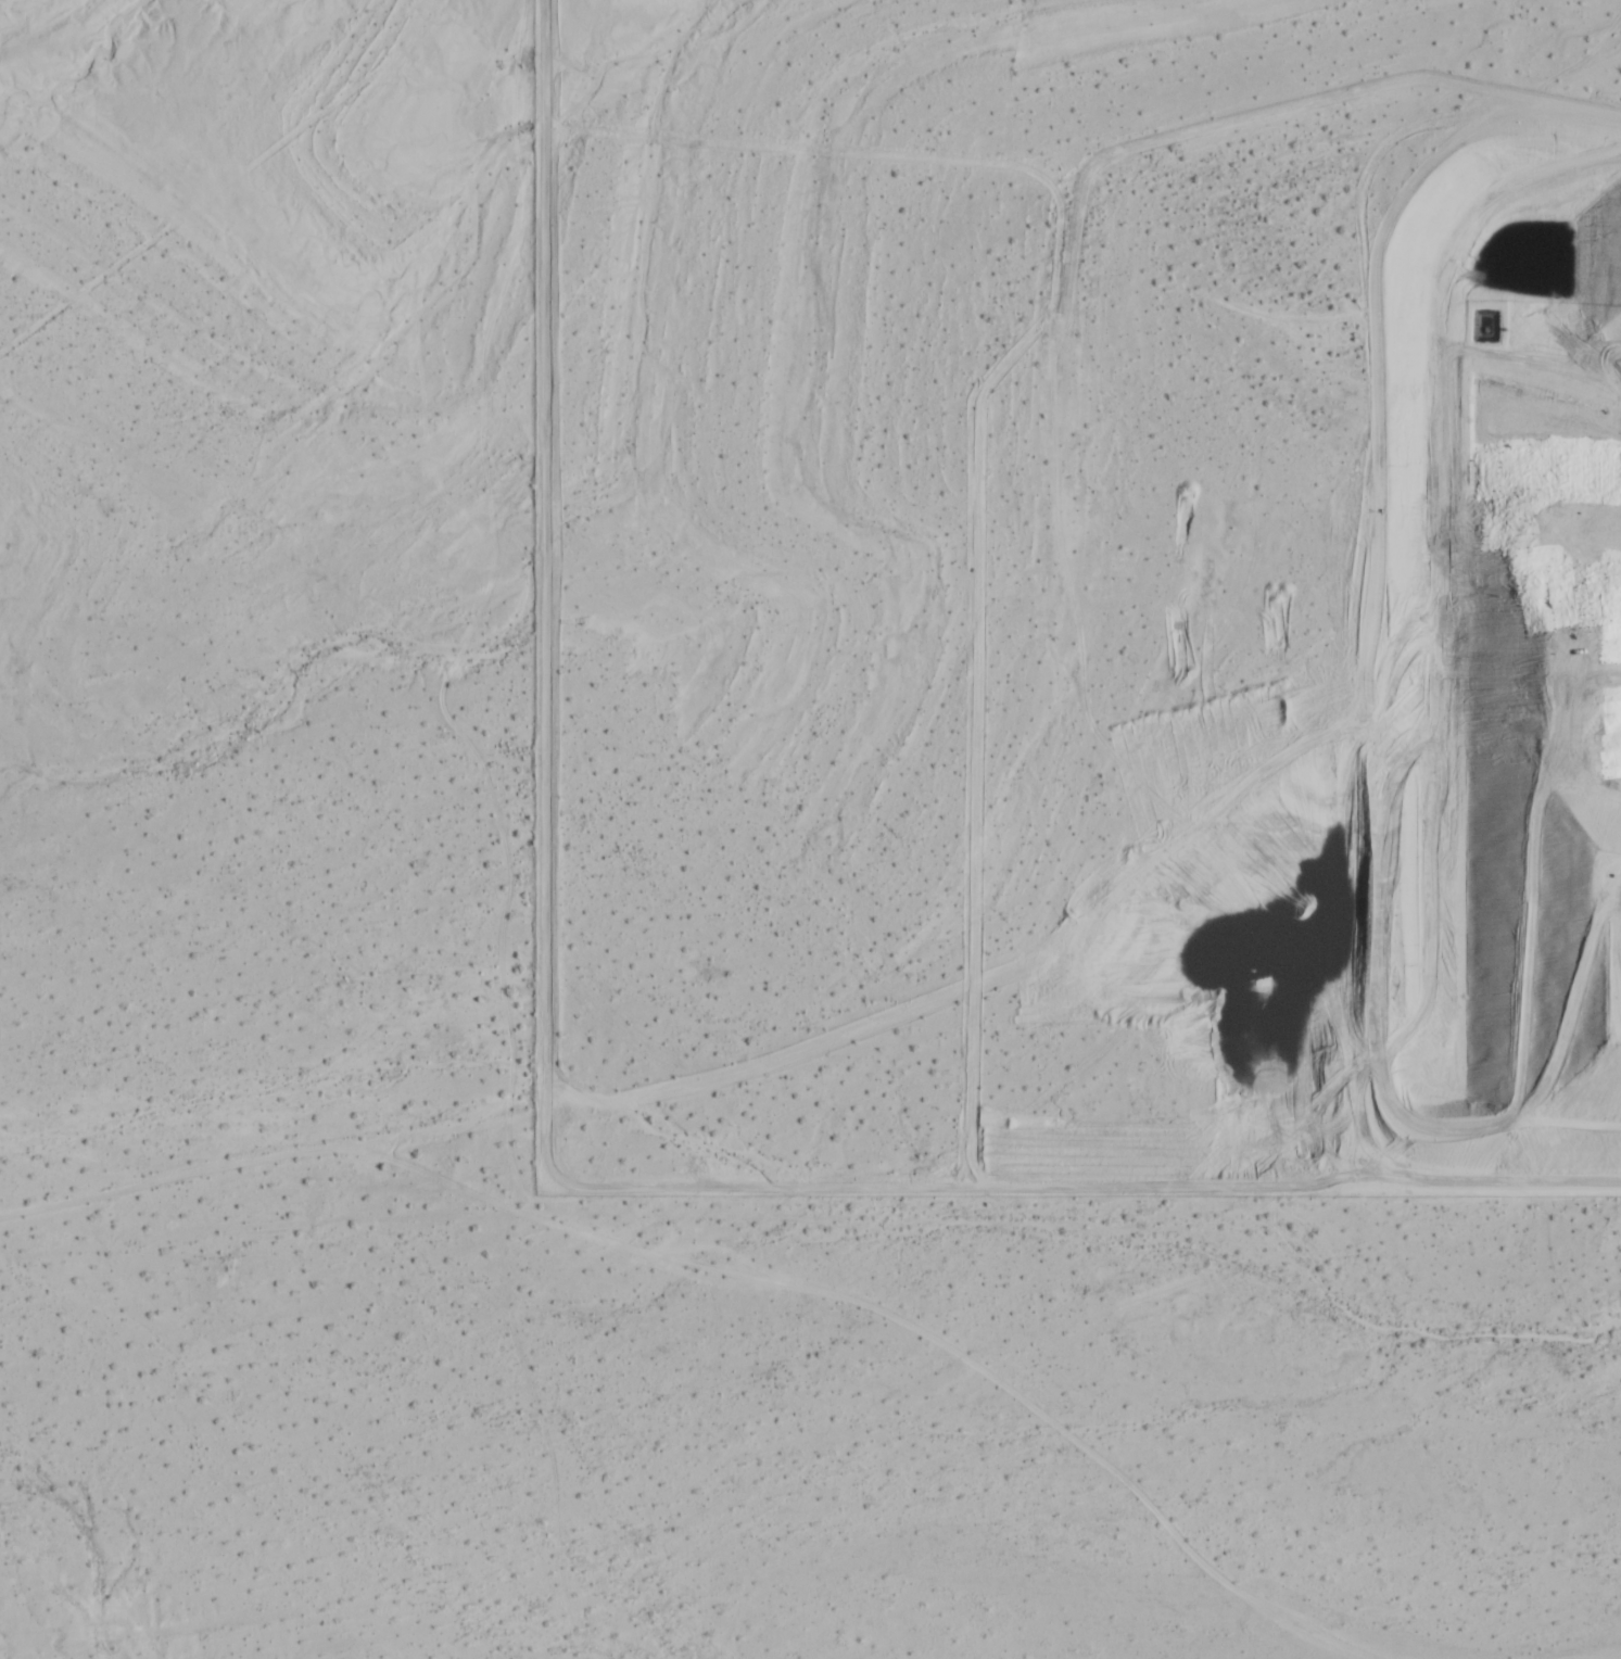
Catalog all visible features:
landfill: (1494, 588)
road: (862, 1023)
road: (736, 1271)

